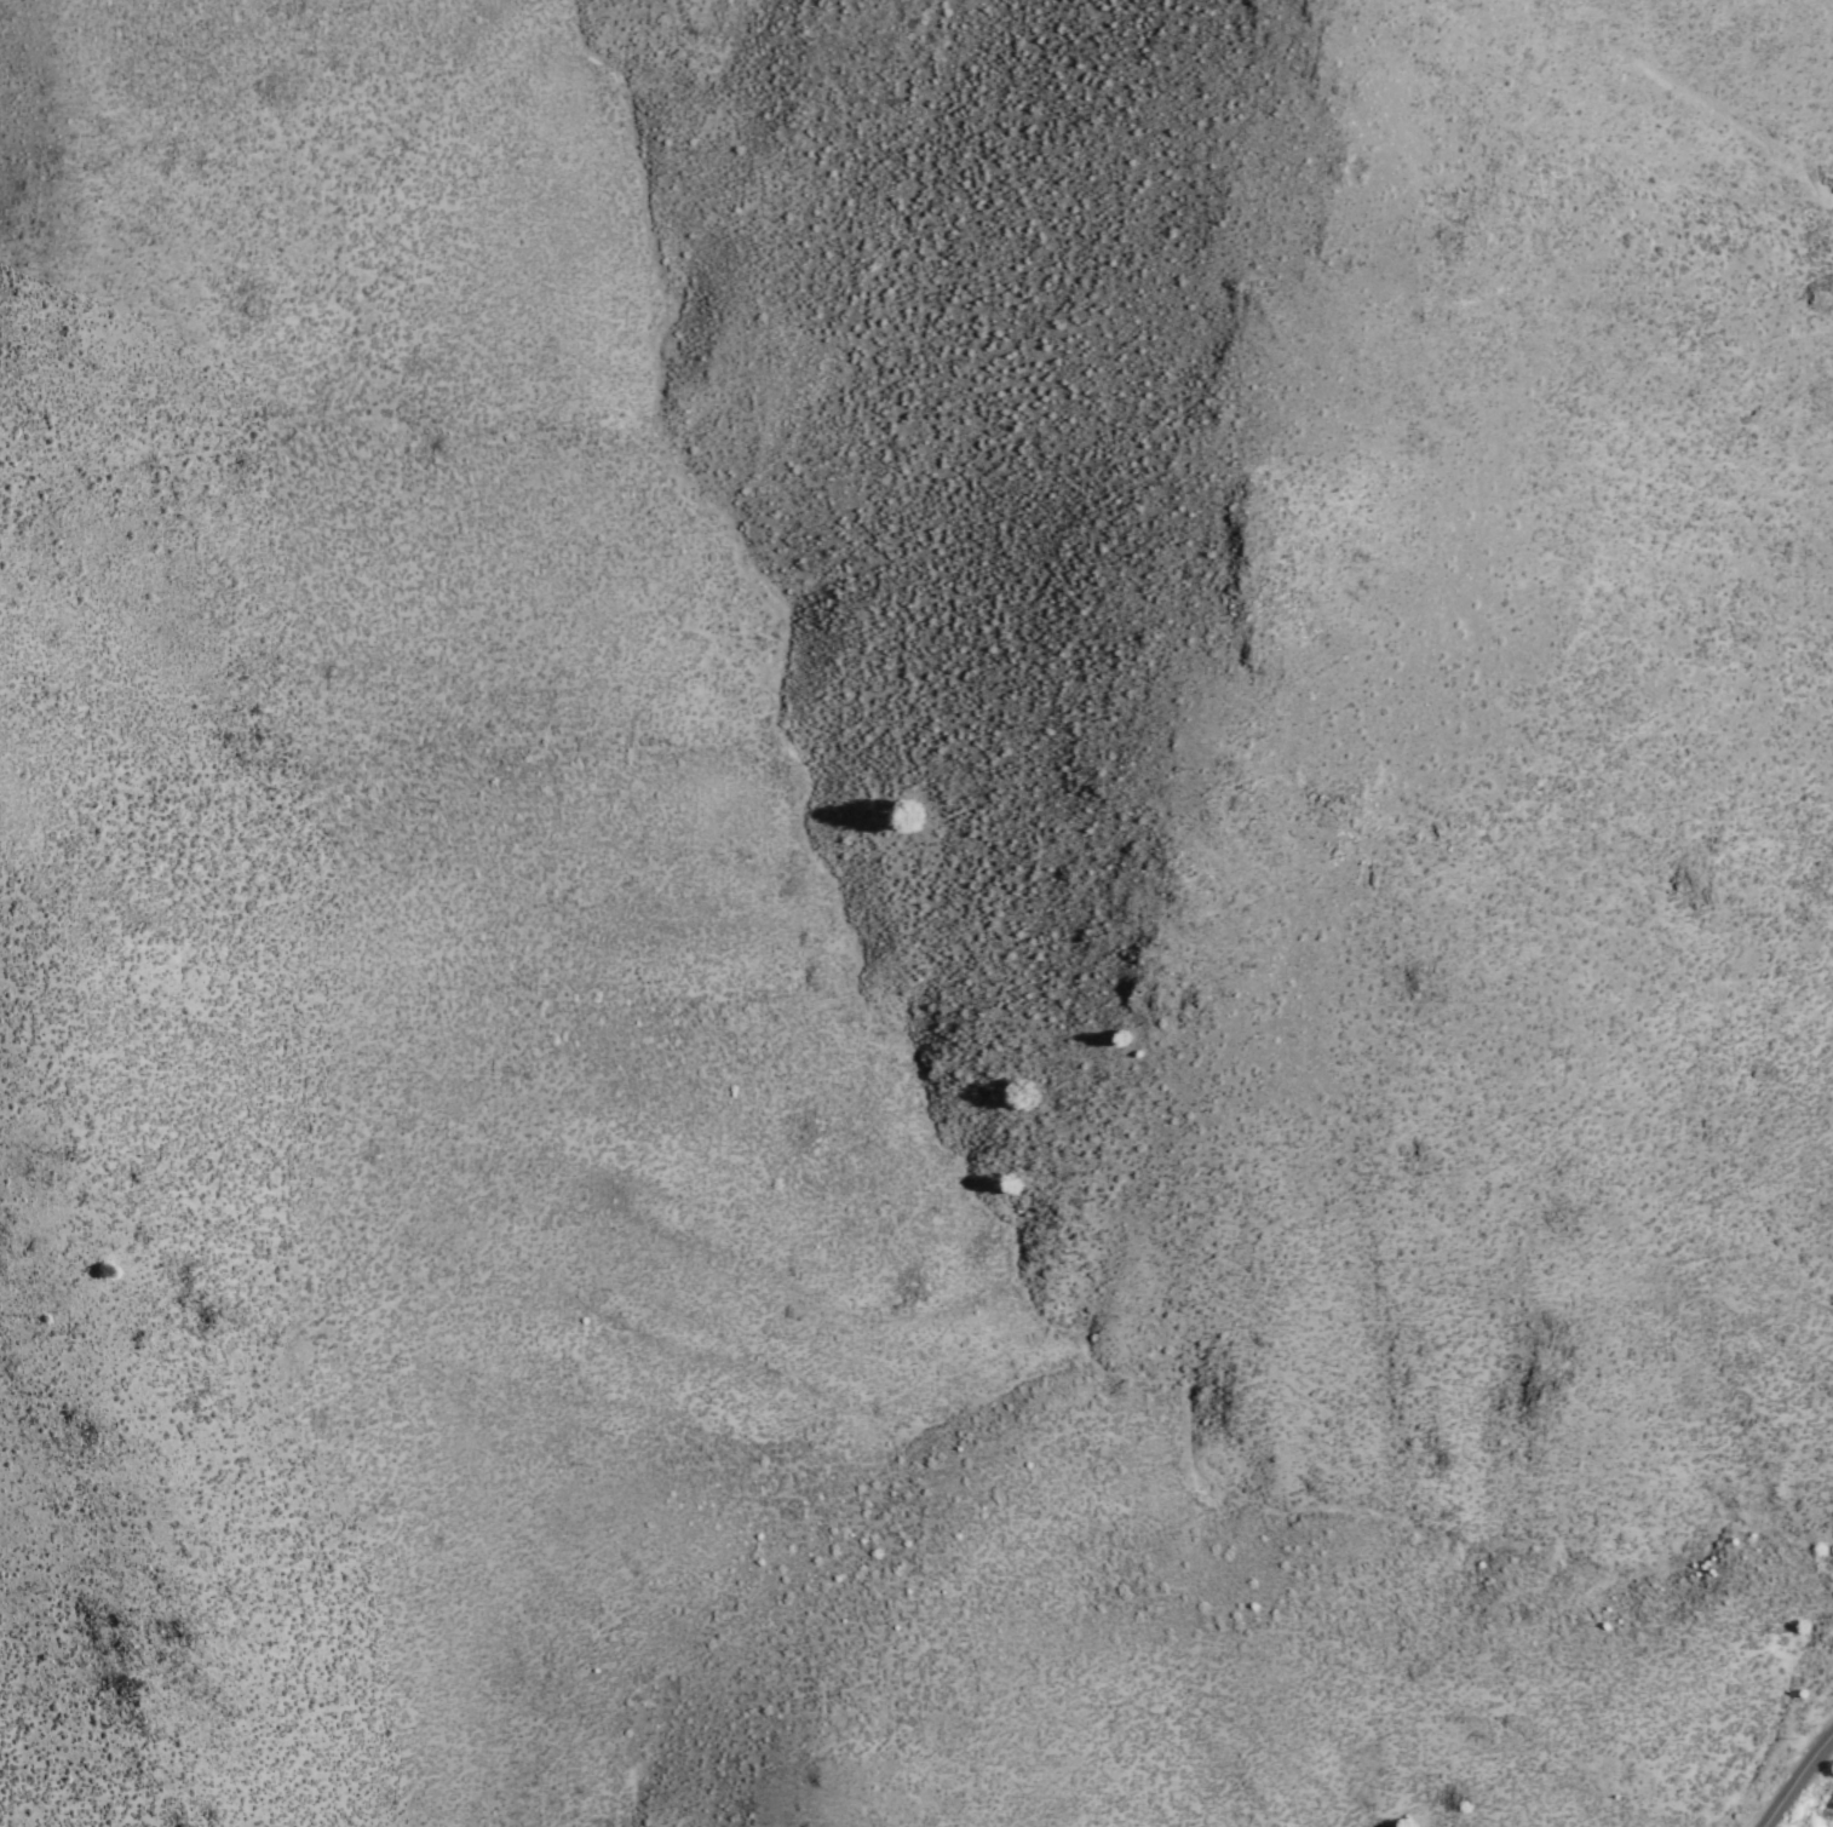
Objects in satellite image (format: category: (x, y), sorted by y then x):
road: (1792, 1770)

